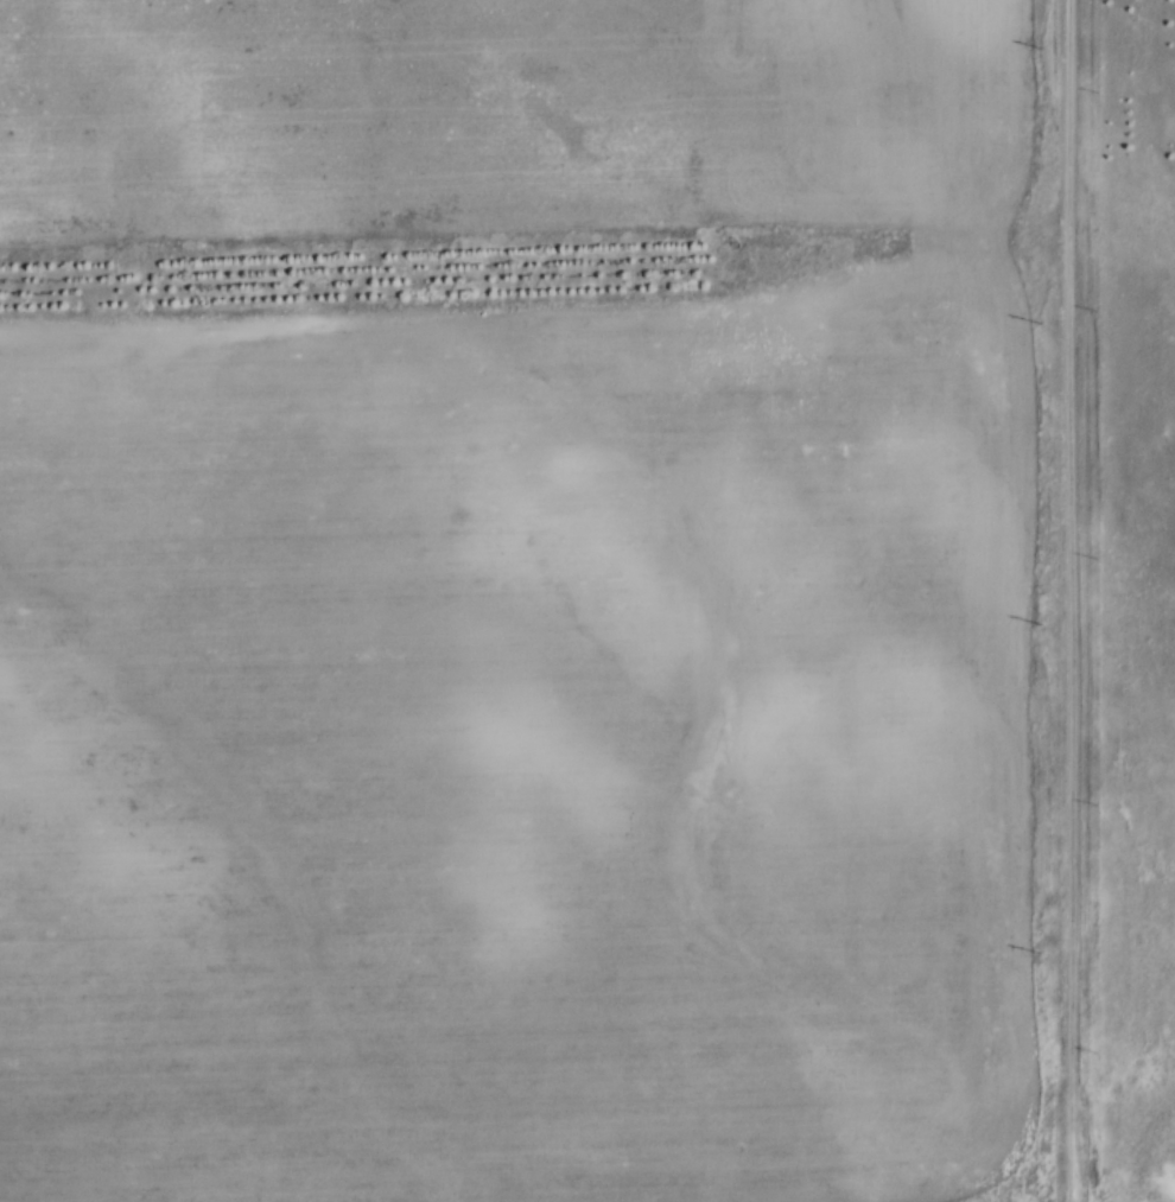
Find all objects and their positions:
road: (1069, 600)

